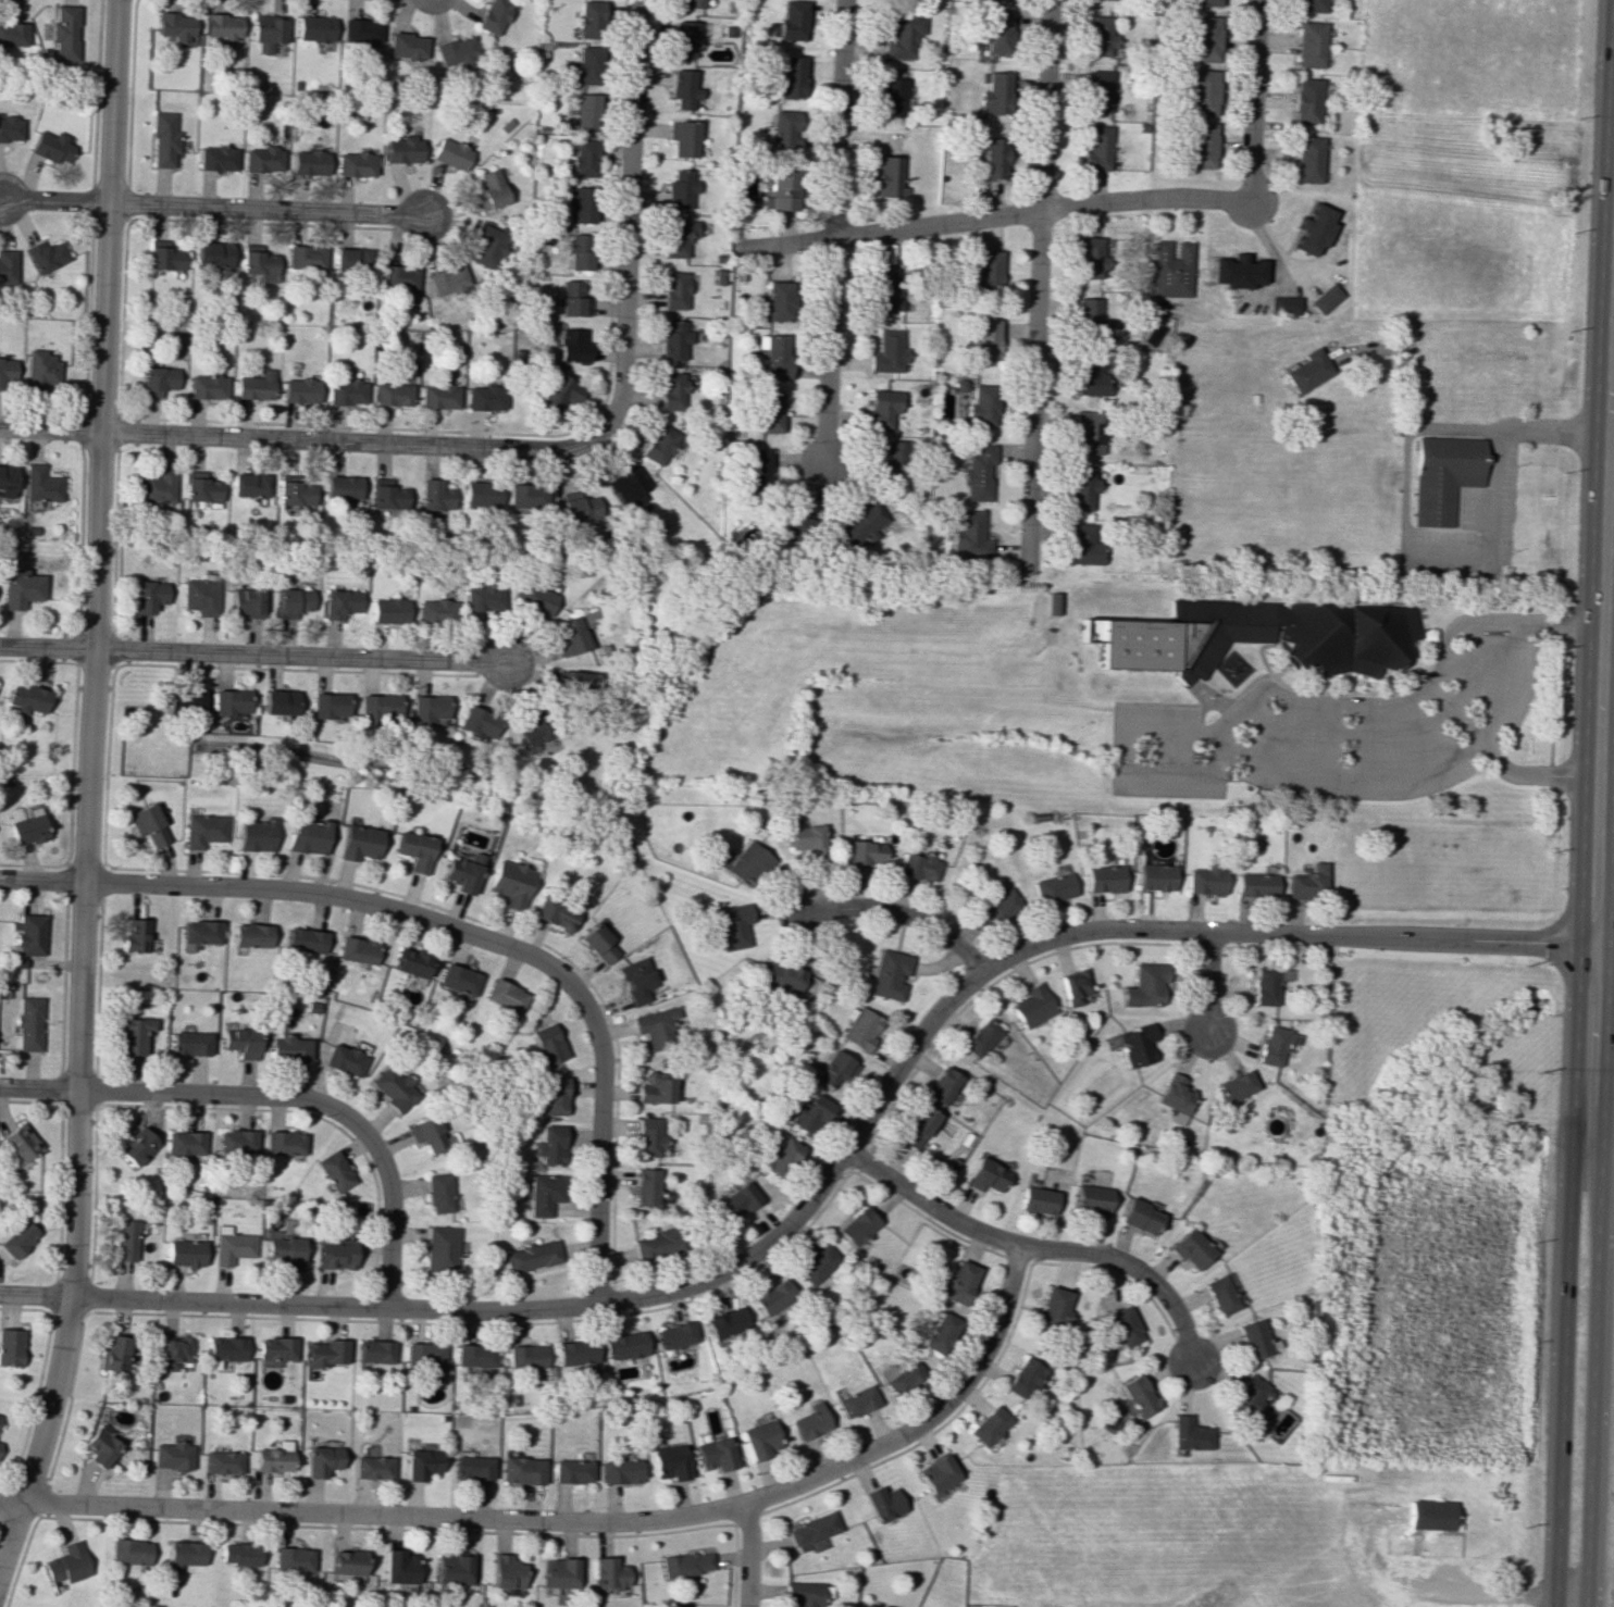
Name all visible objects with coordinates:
building: (1112, 0)
building: (1205, 2)
building: (692, 3)
building: (1311, 5)
building: (493, 15)
building: (589, 18)
building: (791, 20)
building: (221, 26)
building: (175, 27)
building: (314, 28)
building: (996, 30)
building: (266, 32)
building: (360, 32)
building: (12, 34)
building: (901, 34)
building: (64, 35)
building: (1100, 36)
building: (1204, 38)
building: (682, 39)
building: (1308, 43)
building: (406, 46)
building: (456, 51)
building: (586, 65)
building: (789, 77)
building: (683, 88)
building: (1098, 90)
building: (994, 92)
building: (1203, 92)
building: (890, 97)
building: (1305, 100)
road: (1253, 104)
building: (585, 112)
building: (10, 128)
building: (784, 130)
building: (683, 137)
building: (163, 139)
building: (1201, 145)
building: (50, 146)
building: (1096, 147)
building: (402, 149)
building: (450, 153)
building: (216, 158)
building: (583, 158)
building: (992, 158)
building: (262, 159)
building: (1306, 160)
building: (308, 162)
building: (355, 164)
building: (889, 176)
building: (679, 189)
building: (489, 190)
building: (781, 191)
building: (581, 203)
road: (214, 208)
road: (1038, 210)
road: (626, 219)
building: (1313, 229)
road: (832, 233)
building: (676, 237)
building: (487, 245)
building: (578, 251)
building: (212, 253)
building: (47, 254)
building: (163, 256)
building: (305, 257)
building: (1091, 257)
building: (351, 260)
building: (259, 264)
building: (7, 266)
building: (1170, 269)
building: (986, 271)
building: (1238, 271)
building: (397, 277)
building: (446, 279)
road: (1038, 285)
building: (884, 289)
building: (673, 290)
building: (1325, 298)
building: (572, 299)
building: (778, 300)
building: (1284, 304)
building: (1089, 317)
building: (672, 339)
building: (983, 339)
building: (571, 345)
building: (886, 351)
building: (773, 356)
building: (1304, 370)
building: (40, 371)
building: (7, 372)
building: (1089, 376)
building: (157, 379)
building: (207, 386)
building: (254, 386)
building: (299, 390)
building: (670, 390)
building: (559, 391)
building: (346, 393)
building: (392, 394)
building: (438, 395)
building: (484, 397)
building: (981, 404)
building: (881, 408)
building: (768, 412)
road: (1443, 427)
building: (1088, 432)
road: (300, 440)
building: (657, 444)
building: (892, 459)
building: (758, 466)
building: (978, 473)
building: (1442, 477)
building: (7, 481)
building: (39, 484)
building: (249, 484)
building: (157, 486)
building: (625, 487)
building: (342, 488)
building: (1080, 488)
building: (201, 489)
road: (1404, 490)
building: (295, 493)
building: (481, 494)
building: (434, 495)
building: (526, 496)
building: (387, 497)
building: (579, 508)
building: (861, 523)
parking lot: (1467, 534)
building: (968, 535)
road: (1491, 538)
building: (1082, 545)
building: (20, 588)
building: (147, 596)
building: (200, 596)
building: (483, 598)
building: (534, 598)
building: (293, 601)
building: (246, 602)
building: (1052, 602)
building: (339, 603)
building: (388, 610)
building: (435, 611)
building: (1184, 635)
building: (570, 636)
building: (1346, 638)
road: (252, 656)
road: (1468, 665)
parking lot: (1493, 677)
building: (579, 681)
road: (1510, 685)
road: (1604, 689)
road: (1407, 697)
building: (27, 698)
building: (182, 700)
building: (227, 701)
building: (278, 701)
building: (327, 705)
building: (427, 707)
building: (378, 708)
building: (477, 722)
road: (1344, 727)
building: (535, 731)
parking lot: (1346, 751)
road: (1123, 756)
parking lot: (1158, 756)
road: (1495, 763)
road: (1349, 775)
road: (86, 785)
building: (148, 824)
building: (27, 829)
building: (202, 830)
building: (256, 834)
building: (307, 836)
building: (806, 838)
building: (359, 842)
building: (415, 849)
building: (862, 856)
building: (747, 863)
building: (919, 867)
building: (463, 872)
building: (1154, 876)
building: (1103, 879)
building: (1204, 880)
building: (1305, 882)
building: (510, 883)
building: (1253, 884)
building: (1052, 887)
building: (998, 905)
building: (555, 913)
road: (899, 913)
building: (732, 925)
road: (452, 927)
building: (201, 932)
building: (136, 935)
building: (252, 935)
building: (27, 938)
building: (305, 939)
building: (598, 944)
building: (357, 949)
building: (412, 963)
building: (889, 974)
building: (460, 979)
building: (782, 979)
building: (637, 980)
road: (1206, 982)
building: (1145, 984)
building: (1266, 984)
building: (1073, 986)
building: (507, 995)
building: (1030, 1006)
building: (29, 1023)
building: (657, 1026)
building: (858, 1027)
building: (134, 1035)
building: (978, 1037)
building: (241, 1042)
building: (190, 1043)
building: (548, 1044)
building: (1134, 1045)
building: (1270, 1045)
building: (289, 1048)
building: (345, 1059)
building: (834, 1069)
building: (941, 1085)
building: (1233, 1086)
building: (656, 1088)
building: (1174, 1094)
building: (554, 1095)
road: (278, 1096)
building: (811, 1113)
building: (916, 1126)
building: (429, 1134)
building: (648, 1136)
building: (18, 1142)
building: (237, 1142)
building: (285, 1142)
building: (184, 1144)
building: (550, 1144)
building: (137, 1147)
building: (781, 1157)
building: (335, 1171)
road: (829, 1172)
building: (984, 1175)
building: (647, 1186)
building: (438, 1193)
building: (545, 1193)
building: (738, 1198)
building: (1038, 1199)
building: (1091, 1199)
building: (1140, 1216)
building: (858, 1225)
building: (15, 1238)
building: (122, 1239)
building: (656, 1244)
building: (231, 1245)
road: (1033, 1248)
building: (1191, 1248)
building: (442, 1249)
building: (284, 1251)
building: (183, 1253)
building: (335, 1253)
building: (532, 1256)
building: (816, 1262)
road: (1563, 1273)
road: (1596, 1274)
building: (960, 1282)
building: (1219, 1294)
building: (774, 1296)
building: (1056, 1307)
building: (727, 1323)
building: (1123, 1326)
building: (940, 1332)
building: (675, 1334)
building: (1255, 1338)
building: (625, 1345)
building: (10, 1346)
building: (275, 1348)
building: (223, 1349)
building: (174, 1351)
building: (374, 1351)
building: (576, 1351)
building: (113, 1353)
building: (324, 1353)
building: (423, 1354)
building: (475, 1355)
building: (525, 1356)
building: (901, 1375)
building: (1023, 1378)
building: (1138, 1395)
building: (1249, 1397)
building: (855, 1402)
building: (809, 1421)
building: (988, 1425)
building: (1190, 1433)
building: (758, 1438)
building: (0, 1444)
building: (100, 1446)
building: (713, 1454)
building: (172, 1455)
building: (273, 1457)
building: (320, 1460)
building: (221, 1461)
building: (668, 1462)
building: (420, 1463)
building: (371, 1467)
building: (471, 1468)
building: (521, 1470)
building: (570, 1471)
building: (619, 1471)
building: (936, 1473)
building: (881, 1503)
building: (1429, 1516)
road: (573, 1522)
building: (809, 1530)
building: (129, 1550)
building: (184, 1554)
building: (238, 1554)
road: (747, 1555)
building: (291, 1559)
building: (67, 1562)
building: (683, 1564)
building: (345, 1565)
building: (397, 1567)
parking lot: (1396, 1567)
building: (450, 1568)
building: (505, 1571)
building: (557, 1572)
building: (607, 1573)
road: (1486, 1592)
building: (802, 1593)
building: (868, 1605)

